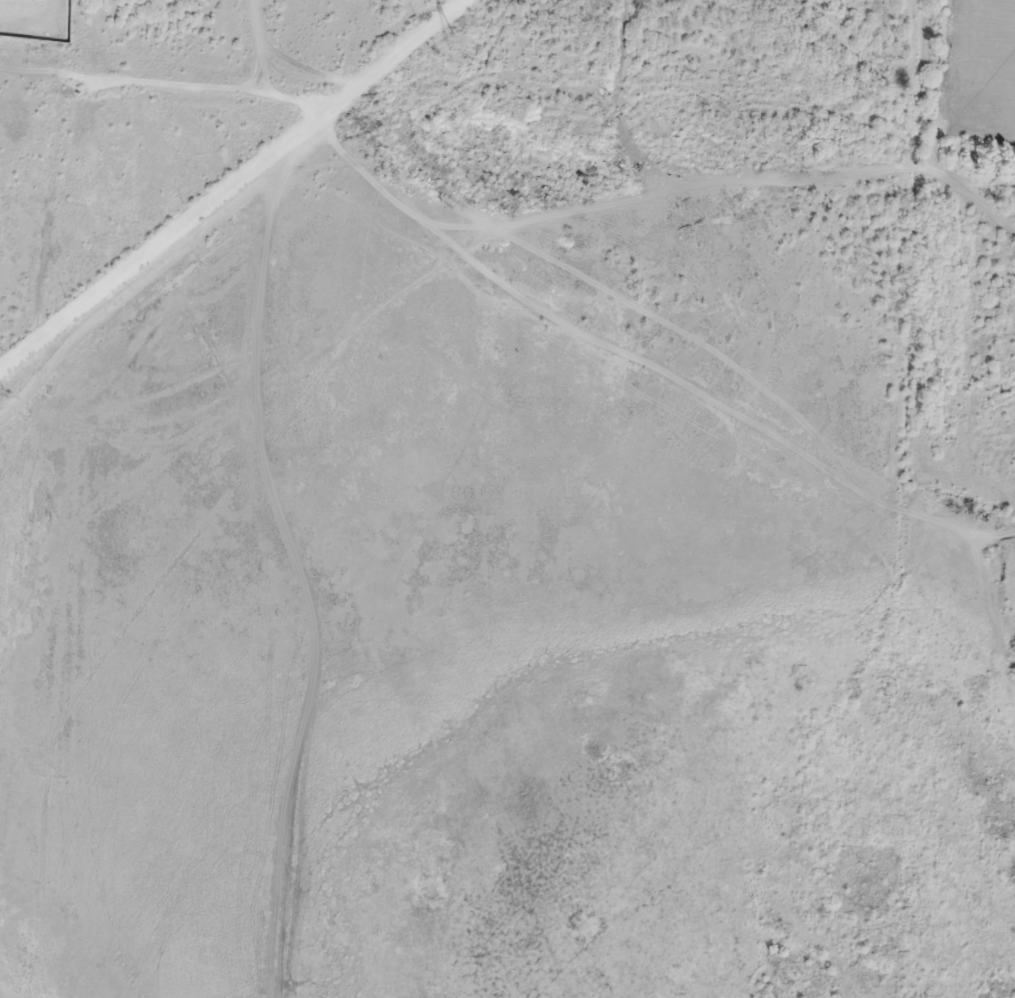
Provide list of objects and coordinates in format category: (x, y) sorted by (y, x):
power tower: (451, 36)
power tower: (4, 392)

